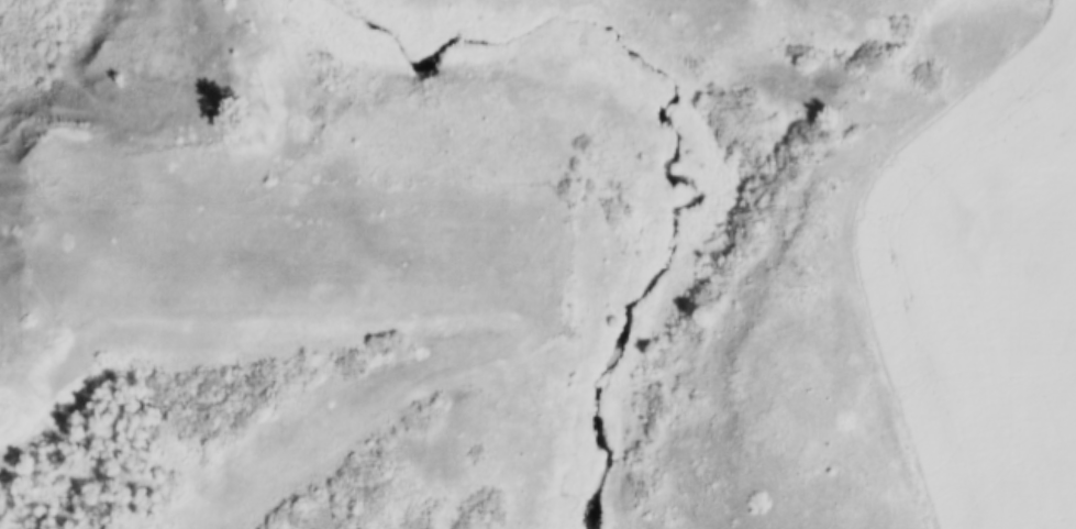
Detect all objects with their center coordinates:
quarry: (95, 148)
quarry: (0, 518)

